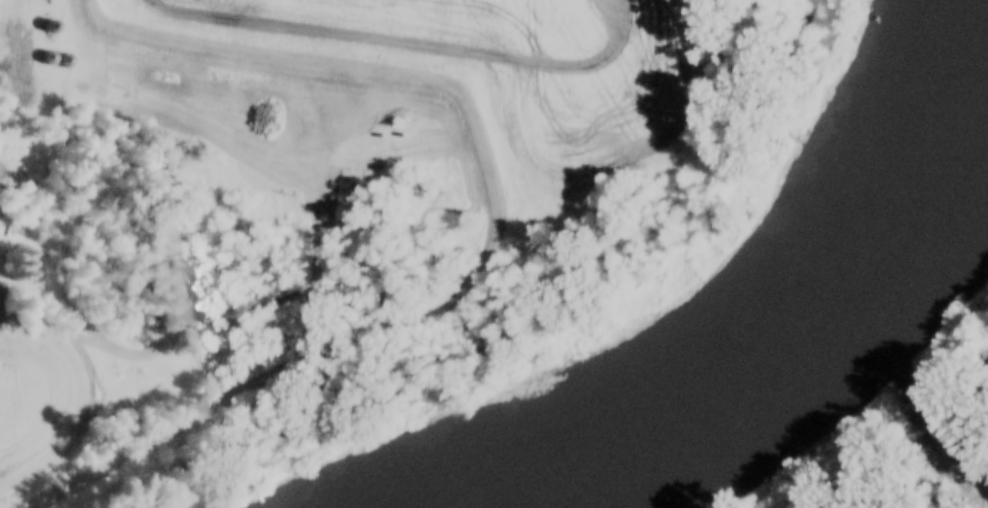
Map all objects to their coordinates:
river: (792, 303)

